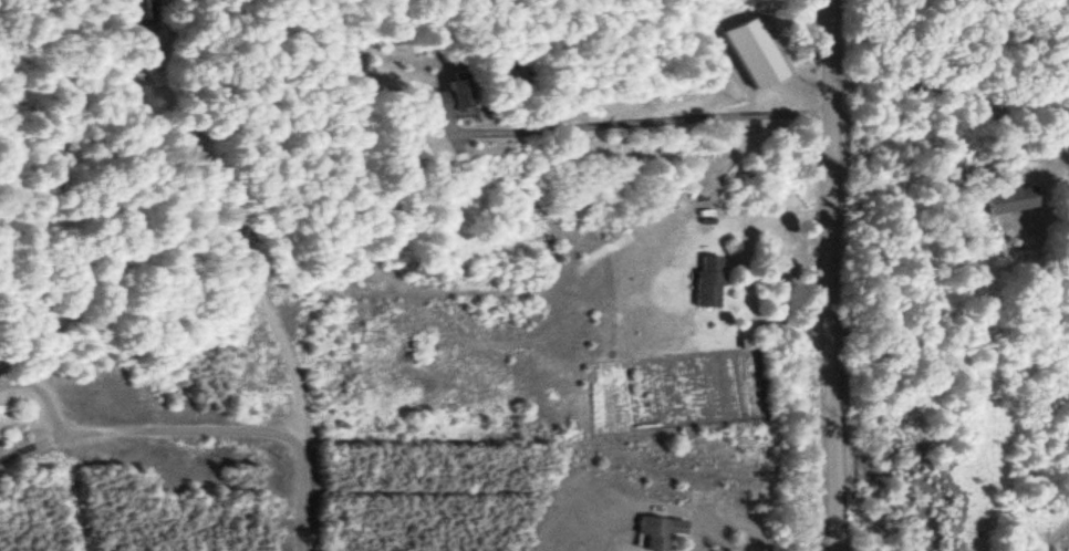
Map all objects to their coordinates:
building: (436, 104)
road: (832, 275)
building: (704, 291)
road: (233, 433)
building: (656, 533)

